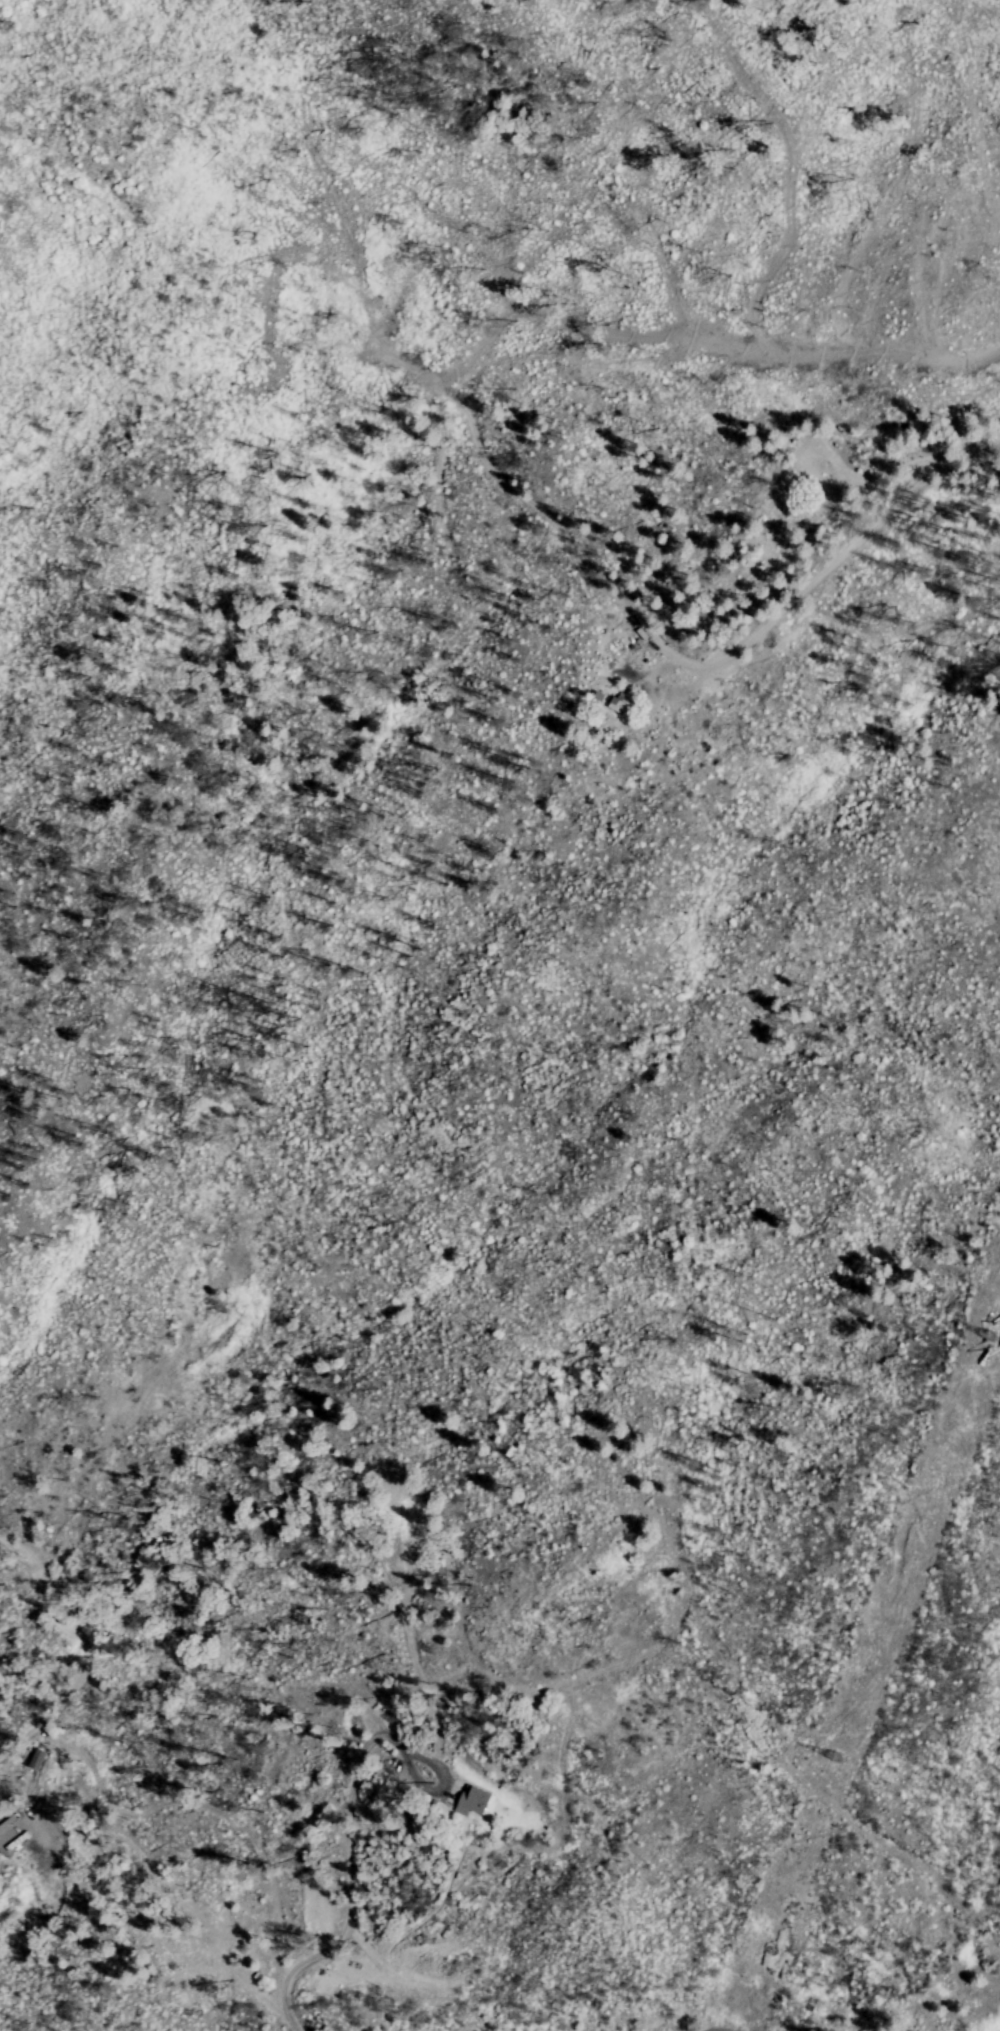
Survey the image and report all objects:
building: (615, 706)
power tower: (984, 1333)
power tower: (826, 1760)
building: (471, 1806)

